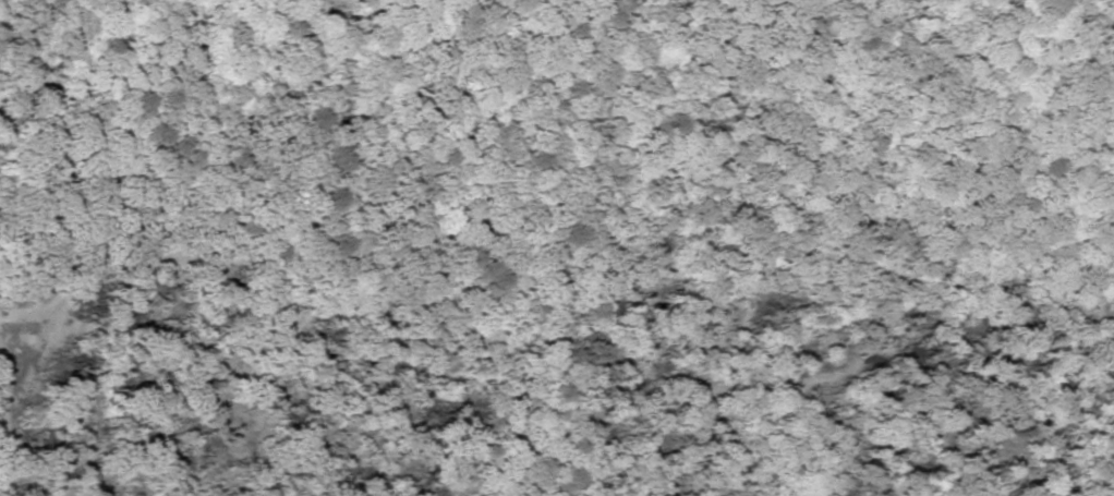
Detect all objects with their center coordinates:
road: (366, 259)

